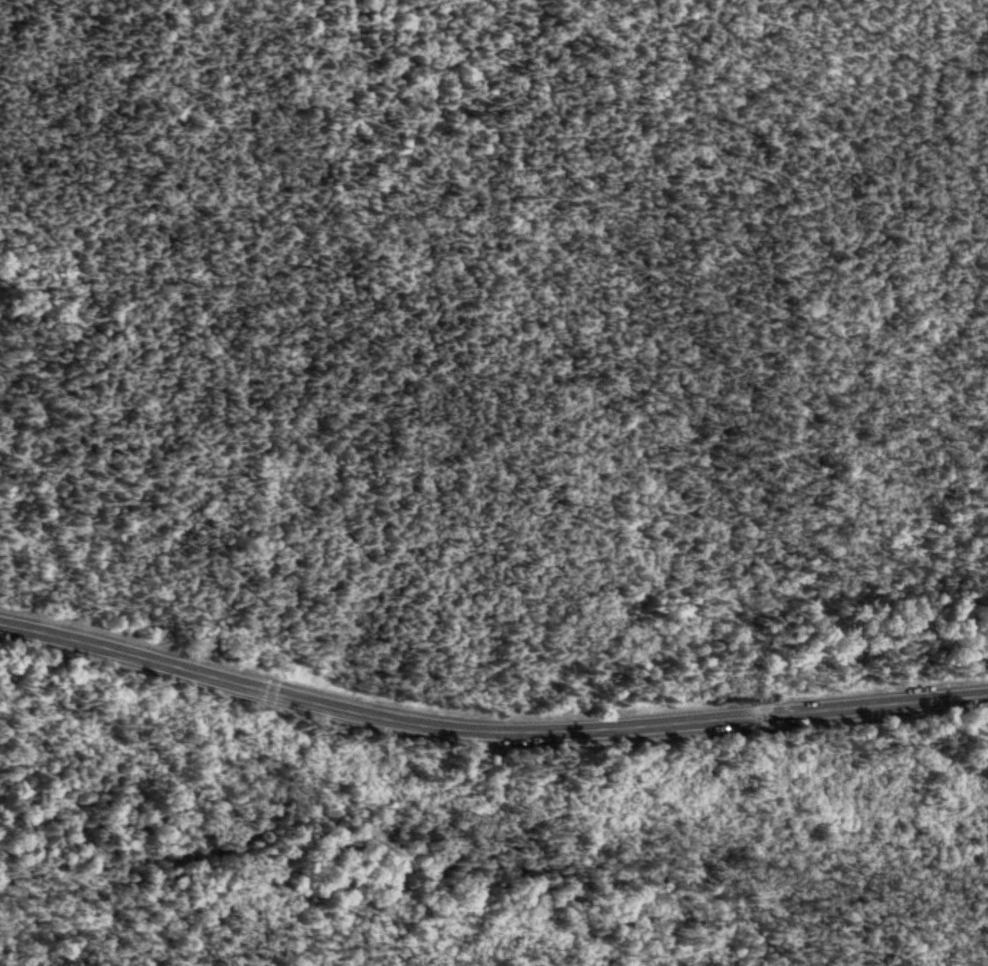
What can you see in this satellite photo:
road: (488, 732)

